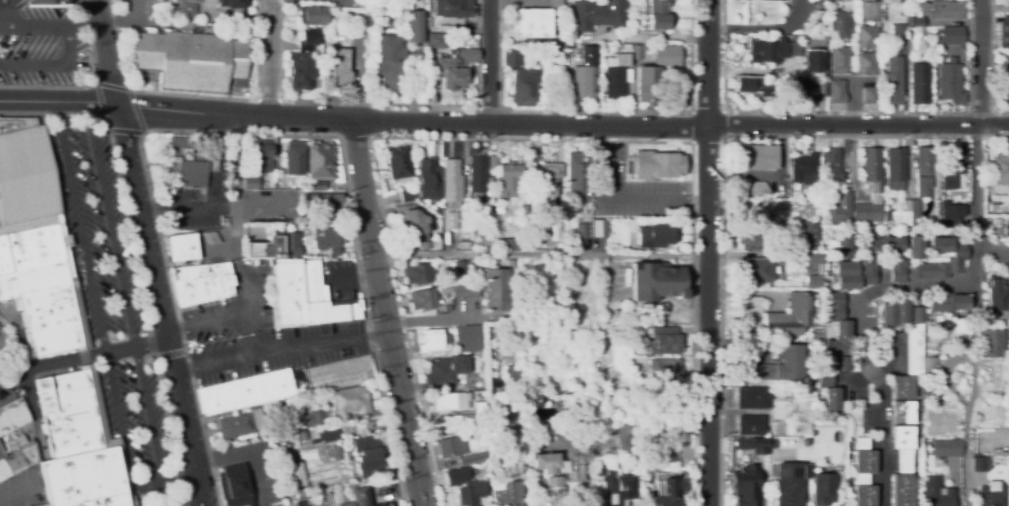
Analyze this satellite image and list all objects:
building: (1008, 1)
building: (42, 2)
building: (360, 4)
building: (821, 5)
building: (208, 8)
building: (452, 8)
building: (945, 9)
building: (868, 11)
building: (315, 15)
building: (597, 15)
building: (658, 15)
building: (535, 21)
building: (917, 21)
building: (840, 25)
building: (415, 27)
road: (67, 28)
road: (762, 28)
road: (4, 29)
building: (898, 31)
building: (919, 32)
building: (1005, 33)
building: (949, 36)
building: (867, 37)
building: (436, 41)
building: (646, 48)
building: (818, 48)
building: (765, 51)
building: (636, 53)
building: (592, 54)
building: (665, 55)
building: (511, 57)
road: (269, 59)
building: (811, 60)
building: (840, 60)
building: (190, 61)
building: (305, 61)
road: (489, 61)
building: (389, 63)
road: (979, 63)
building: (866, 64)
road: (53, 66)
building: (456, 68)
building: (339, 69)
building: (616, 73)
building: (1006, 76)
building: (893, 81)
building: (582, 82)
building: (951, 82)
building: (920, 84)
building: (648, 85)
building: (752, 85)
building: (523, 88)
building: (822, 89)
building: (836, 91)
building: (802, 92)
building: (870, 95)
road: (597, 111)
road: (845, 111)
road: (504, 124)
building: (262, 156)
building: (757, 157)
building: (294, 158)
road: (218, 161)
building: (320, 161)
building: (955, 161)
building: (188, 163)
building: (493, 163)
building: (398, 164)
building: (656, 165)
building: (896, 168)
building: (830, 169)
building: (1001, 169)
building: (803, 172)
building: (926, 172)
building: (478, 174)
building: (26, 178)
building: (427, 178)
building: (578, 181)
building: (250, 182)
building: (451, 182)
building: (508, 182)
building: (547, 183)
building: (316, 186)
building: (762, 188)
building: (952, 189)
building: (876, 193)
building: (406, 194)
road: (977, 202)
building: (323, 205)
road: (220, 208)
road: (255, 208)
building: (840, 209)
building: (525, 210)
building: (950, 212)
building: (908, 214)
building: (888, 217)
building: (579, 219)
building: (450, 220)
building: (412, 223)
building: (224, 224)
road: (78, 225)
building: (537, 227)
building: (599, 228)
building: (1005, 230)
building: (555, 232)
building: (658, 235)
building: (809, 236)
building: (210, 238)
building: (327, 239)
building: (754, 242)
building: (290, 243)
building: (832, 243)
building: (424, 245)
building: (463, 245)
building: (508, 245)
building: (882, 246)
building: (182, 247)
building: (843, 247)
building: (917, 247)
building: (33, 248)
building: (264, 248)
road: (150, 252)
road: (708, 253)
road: (540, 257)
building: (958, 259)
building: (771, 266)
building: (898, 269)
building: (869, 270)
building: (457, 271)
building: (846, 275)
building: (417, 276)
road: (355, 277)
building: (658, 282)
building: (201, 283)
building: (445, 287)
road: (921, 287)
building: (465, 290)
building: (496, 290)
road: (125, 293)
building: (288, 293)
building: (996, 295)
building: (423, 299)
building: (948, 303)
building: (836, 306)
building: (48, 307)
building: (751, 310)
building: (895, 312)
road: (384, 313)
building: (918, 314)
road: (249, 315)
building: (790, 316)
road: (208, 326)
building: (958, 334)
building: (467, 338)
building: (662, 339)
building: (838, 339)
building: (433, 340)
parking lot: (238, 341)
road: (136, 342)
building: (992, 343)
road: (281, 349)
building: (148, 361)
road: (51, 363)
building: (842, 364)
building: (910, 364)
building: (778, 365)
building: (666, 368)
building: (929, 368)
building: (444, 371)
building: (514, 372)
building: (341, 373)
building: (673, 384)
building: (828, 391)
building: (245, 393)
building: (753, 398)
building: (536, 399)
building: (443, 401)
building: (350, 402)
building: (480, 411)
building: (780, 412)
road: (883, 412)
building: (903, 412)
building: (68, 414)
building: (12, 417)
building: (315, 418)
building: (447, 424)
building: (751, 425)
building: (235, 427)
road: (123, 431)
building: (625, 431)
building: (302, 434)
building: (312, 434)
building: (328, 434)
building: (15, 441)
building: (314, 441)
building: (847, 444)
building: (760, 446)
building: (449, 447)
building: (946, 448)
road: (245, 451)
building: (325, 452)
building: (336, 452)
building: (844, 454)
building: (368, 456)
building: (473, 457)
building: (17, 462)
building: (925, 462)
building: (980, 464)
building: (686, 466)
building: (903, 467)
building: (458, 473)
building: (557, 473)
building: (863, 473)
building: (297, 474)
building: (85, 479)
building: (847, 479)
building: (789, 482)
road: (179, 483)
building: (234, 486)
building: (612, 486)
building: (745, 486)
building: (823, 489)
building: (672, 490)
road: (16, 491)
building: (471, 492)
building: (936, 492)
building: (505, 493)
building: (991, 496)
building: (360, 497)
road: (190, 503)
building: (347, 504)
building: (47, 505)
building: (379, 505)

